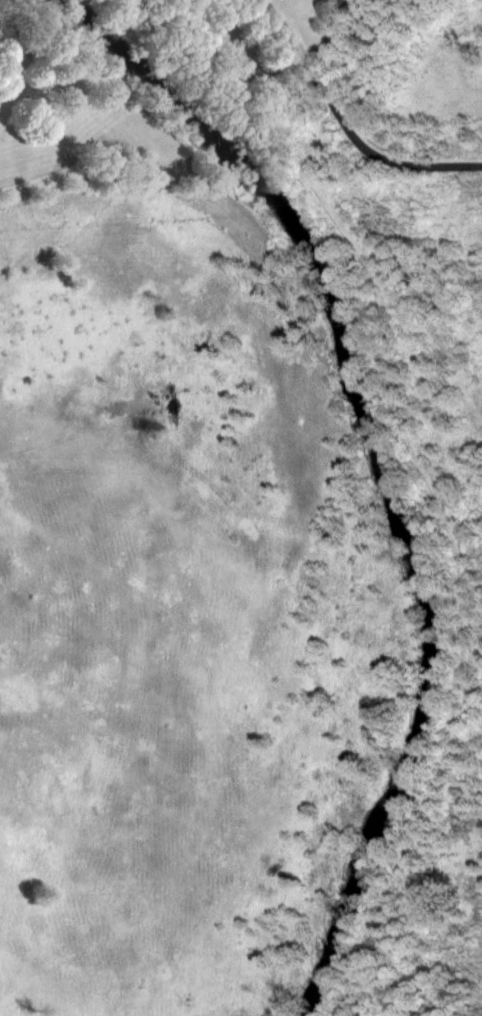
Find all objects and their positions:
road: (346, 124)

